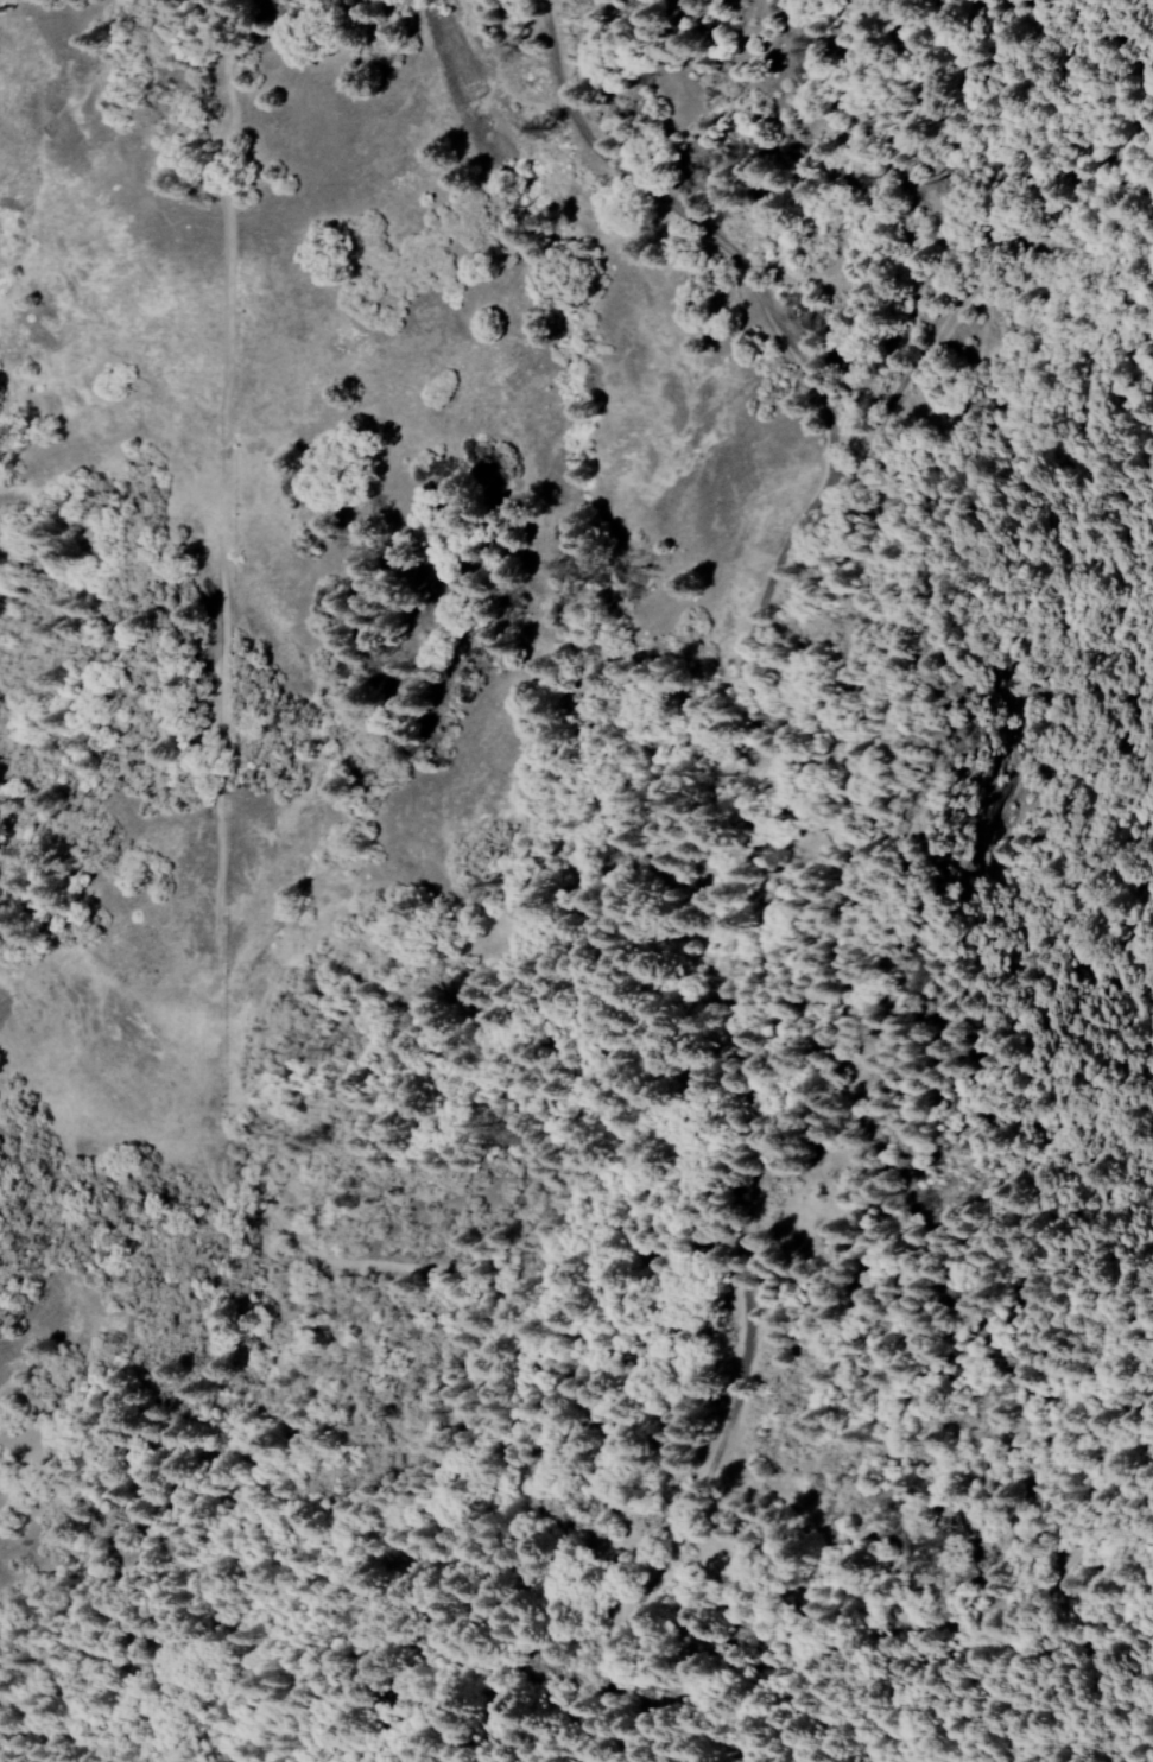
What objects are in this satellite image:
road: (711, 233)
road: (740, 887)

